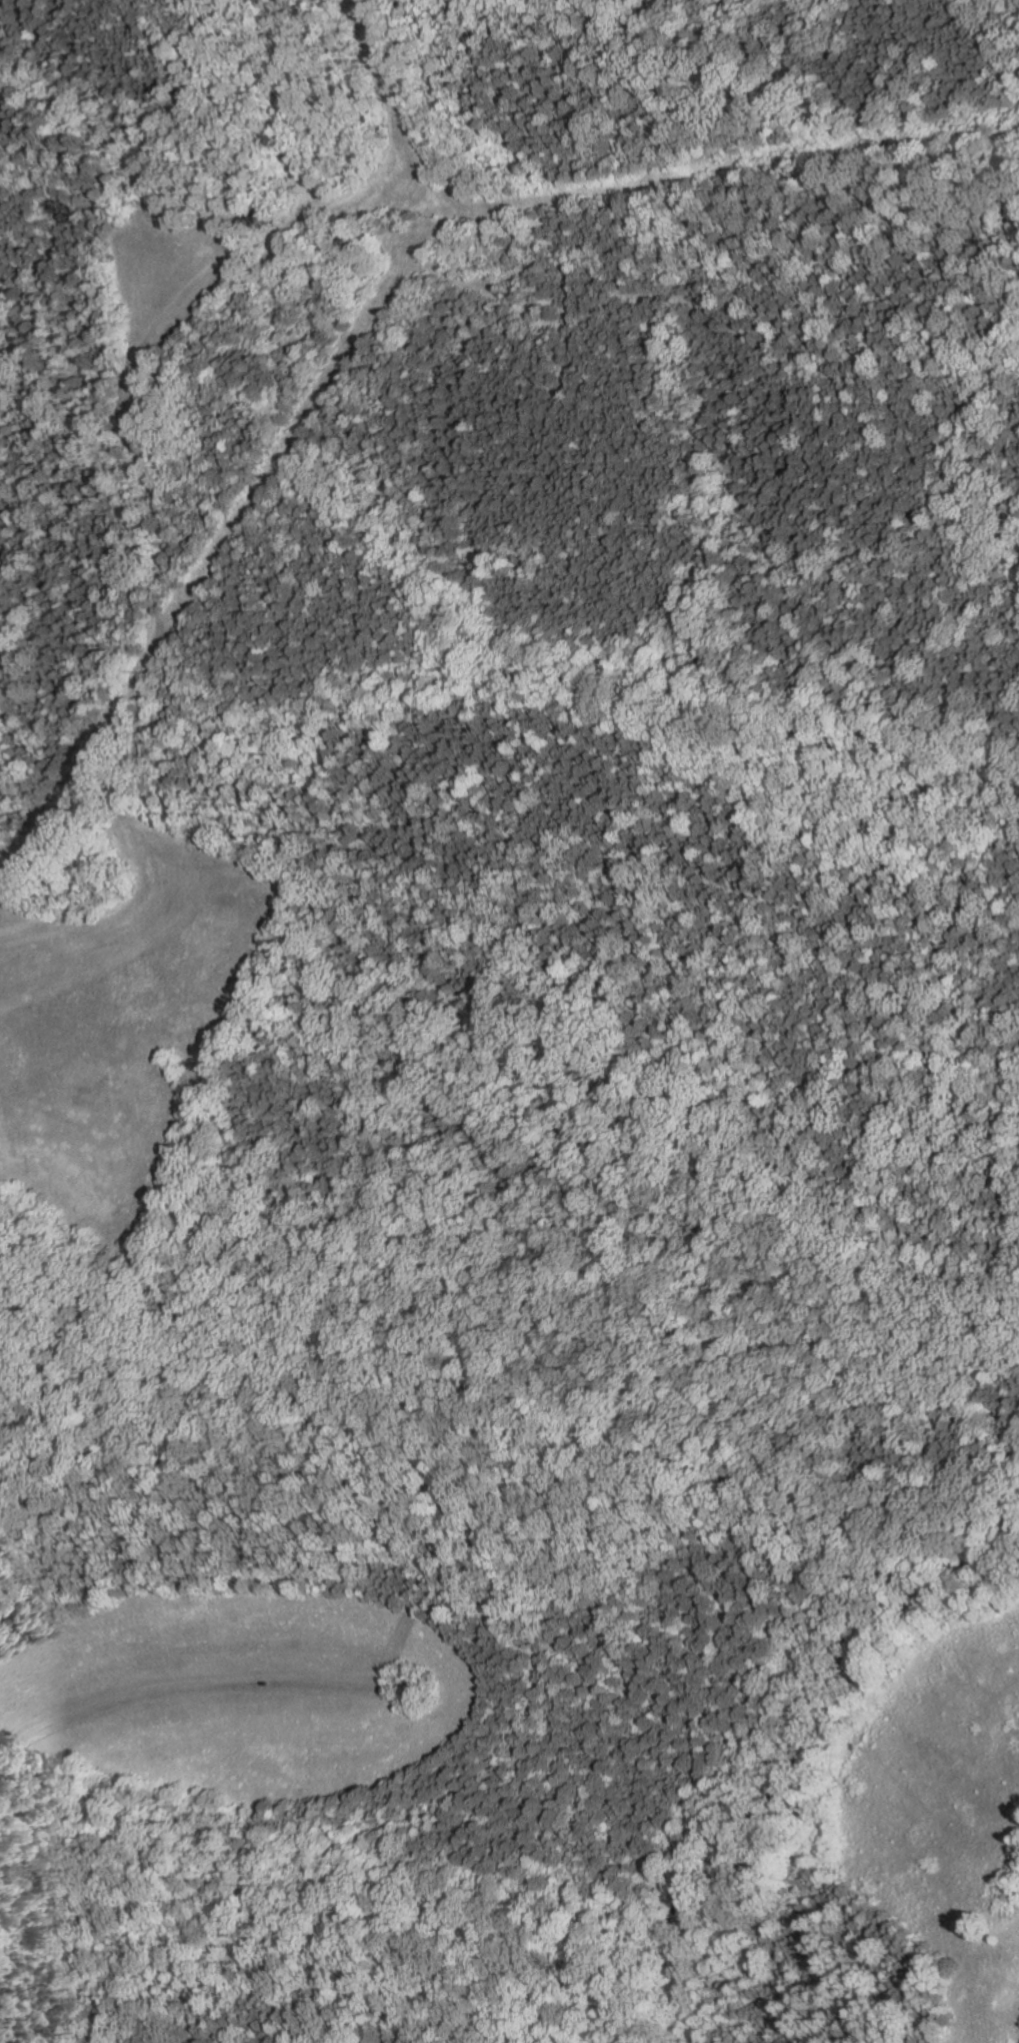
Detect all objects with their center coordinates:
building: (271, 136)
building: (254, 212)
building: (352, 236)
road: (138, 457)

